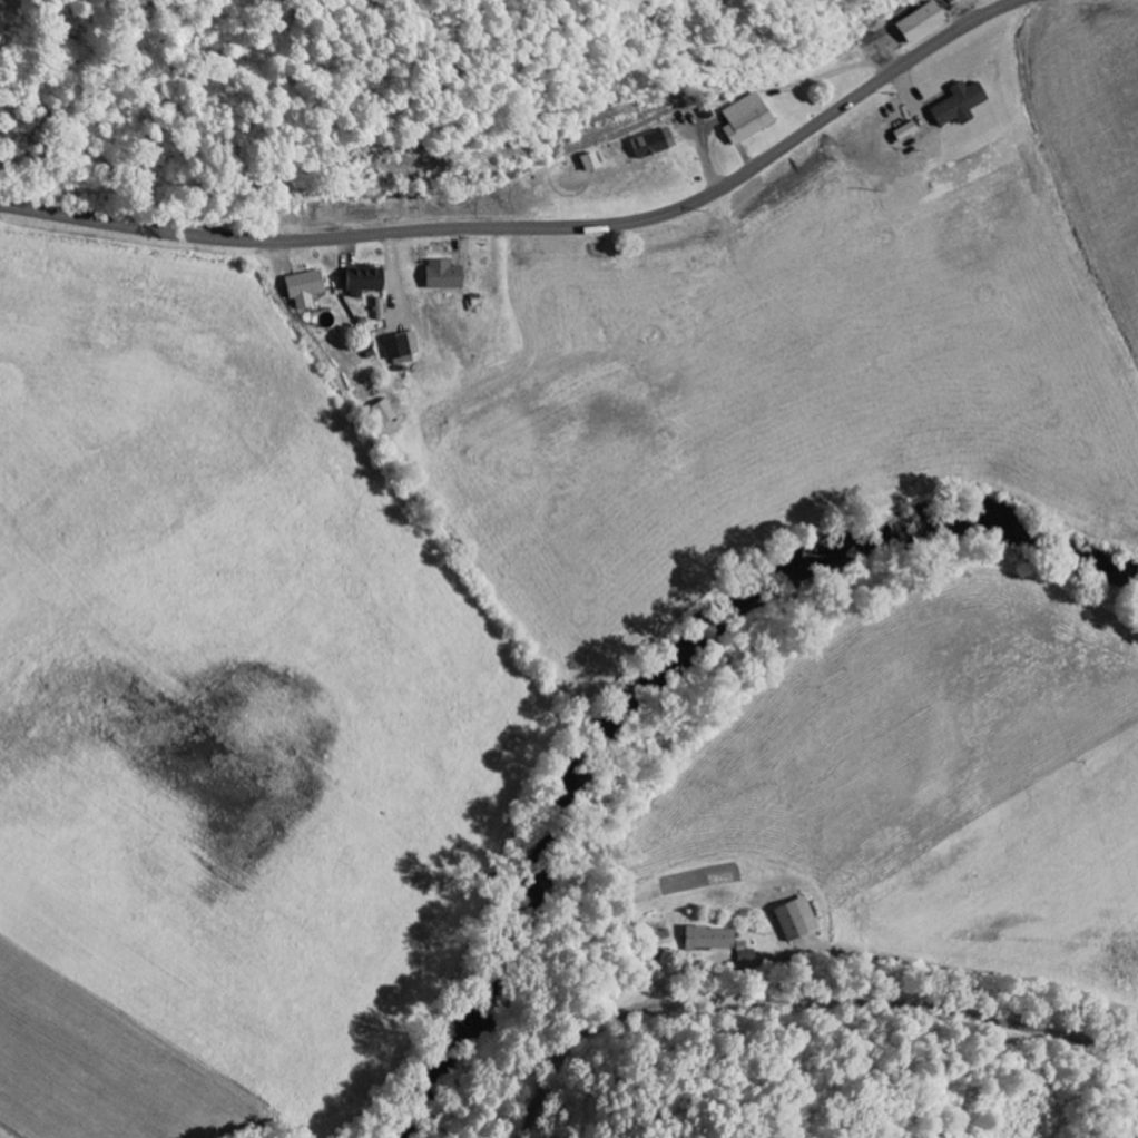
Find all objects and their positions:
building: (919, 23)
building: (955, 105)
building: (745, 120)
building: (903, 133)
building: (651, 144)
building: (588, 163)
road: (541, 227)
building: (440, 276)
building: (360, 282)
building: (301, 290)
building: (399, 350)
building: (380, 413)
river: (651, 676)
building: (794, 919)
building: (707, 939)
building: (746, 955)
road: (802, 1007)

